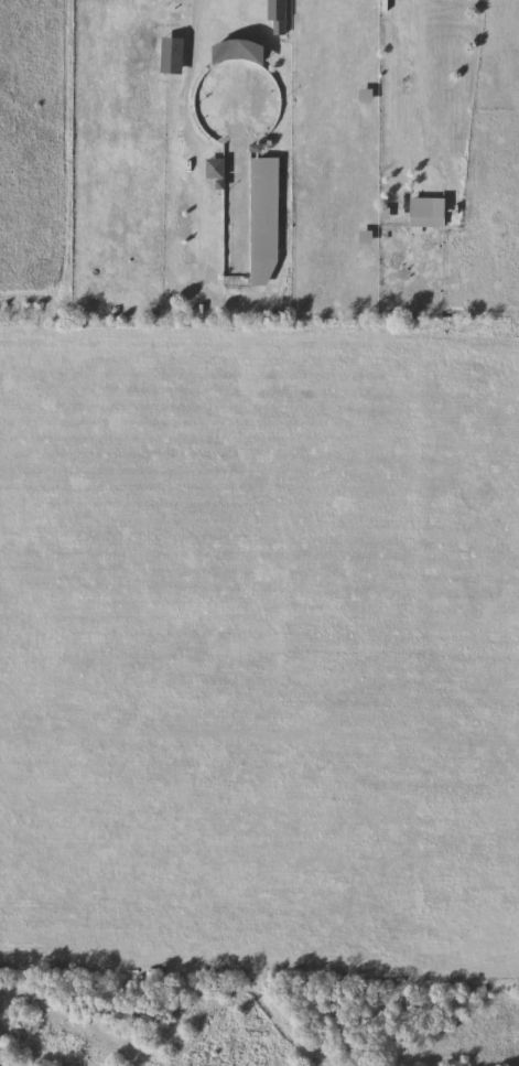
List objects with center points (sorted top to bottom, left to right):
building: (280, 14)
road: (407, 82)
road: (187, 110)
building: (216, 170)
building: (238, 265)

